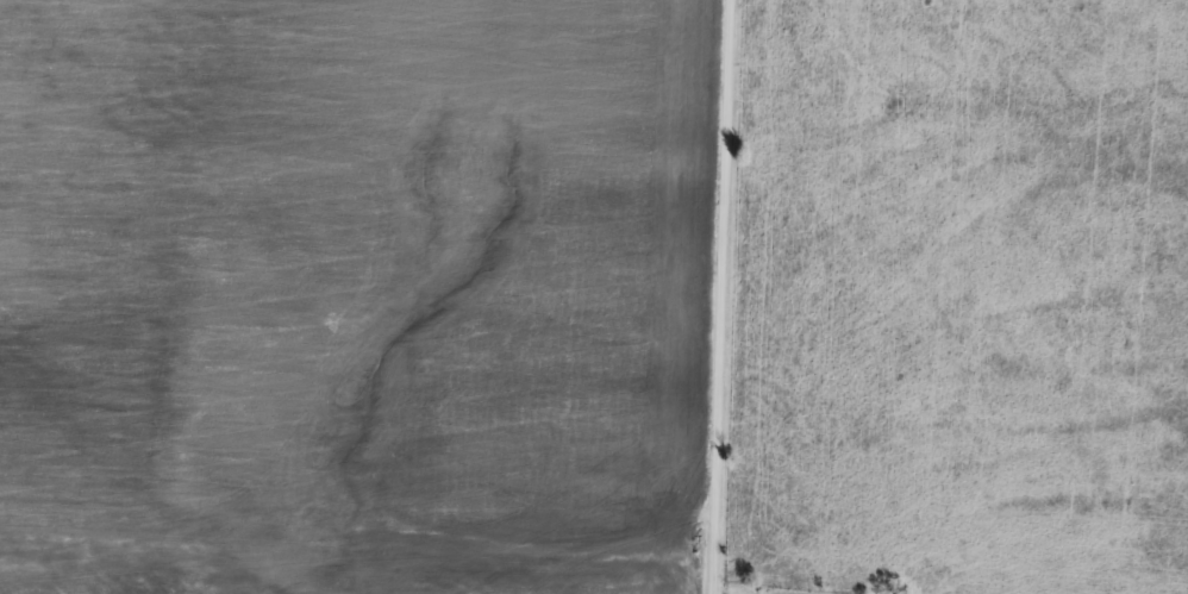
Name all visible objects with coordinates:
road: (717, 296)

